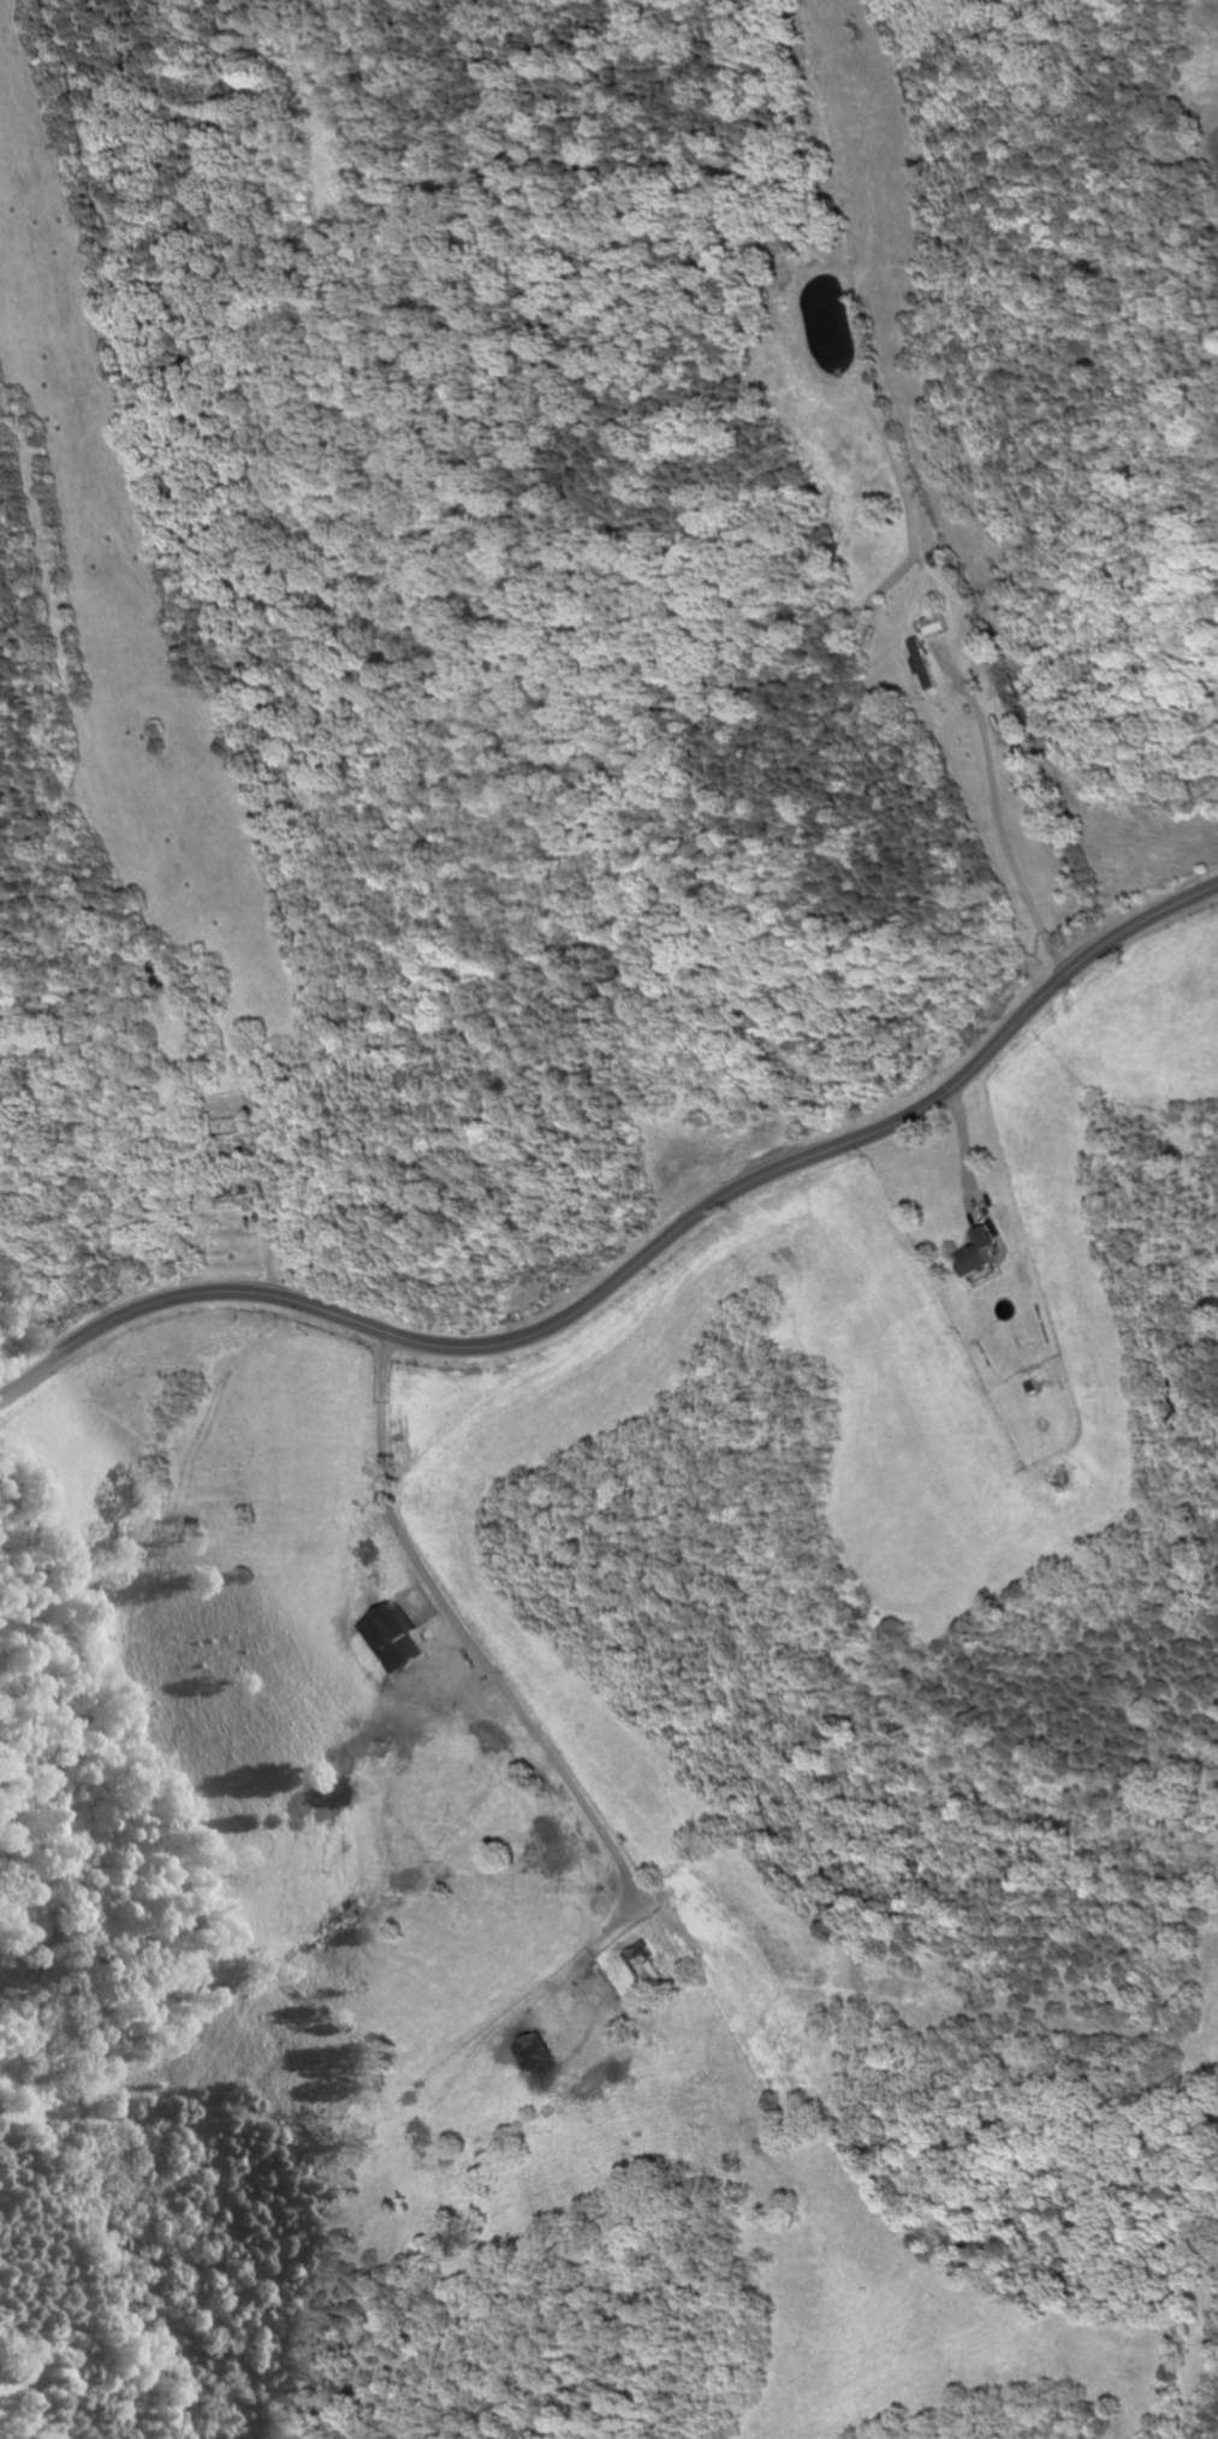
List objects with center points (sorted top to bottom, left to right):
road: (1003, 830)
building: (978, 1252)
road: (640, 1268)
road: (436, 1603)
building: (642, 1965)

